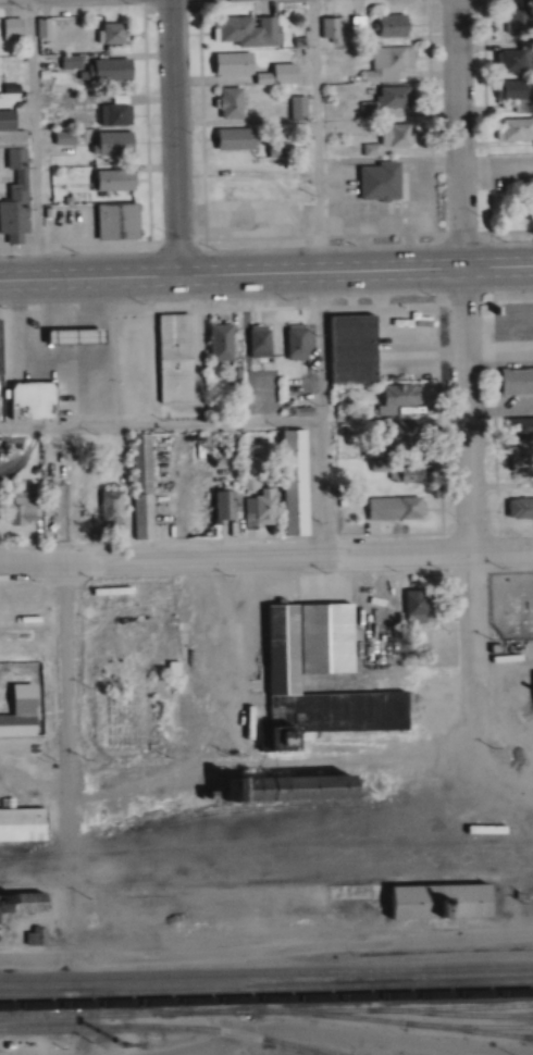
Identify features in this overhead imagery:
building: (511, 22)
building: (389, 26)
building: (11, 27)
building: (330, 27)
building: (243, 32)
building: (110, 34)
building: (66, 62)
building: (510, 62)
building: (228, 64)
building: (386, 64)
building: (104, 70)
building: (276, 75)
building: (513, 95)
building: (392, 101)
building: (226, 103)
building: (296, 109)
building: (112, 114)
building: (3, 122)
building: (512, 131)
road: (317, 132)
road: (173, 134)
road: (33, 135)
building: (228, 139)
building: (389, 139)
building: (107, 144)
building: (108, 181)
building: (374, 182)
building: (11, 221)
building: (112, 222)
road: (497, 258)
road: (231, 265)
road: (462, 275)
building: (255, 343)
building: (214, 344)
building: (292, 344)
building: (347, 351)
building: (169, 359)
building: (513, 382)
building: (394, 400)
building: (26, 402)
road: (320, 410)
road: (160, 426)
building: (517, 431)
building: (406, 435)
building: (103, 443)
building: (519, 467)
building: (402, 474)
building: (289, 484)
building: (138, 488)
building: (218, 508)
building: (389, 509)
building: (107, 510)
building: (518, 510)
building: (16, 511)
road: (266, 557)
building: (411, 608)
road: (471, 649)
building: (494, 649)
road: (224, 663)
building: (169, 670)
building: (282, 685)
building: (17, 715)
road: (37, 750)
road: (69, 760)
road: (369, 762)
road: (132, 781)
road: (34, 789)
building: (283, 790)
building: (5, 804)
railway: (177, 818)
building: (21, 826)
railway: (265, 847)
railway: (266, 881)
building: (18, 904)
building: (437, 904)
building: (34, 939)
road: (301, 945)
road: (35, 959)
railway: (266, 975)
railway: (472, 983)
railway: (206, 991)
railway: (329, 992)
railway: (266, 998)
railway: (26, 1003)
railway: (159, 1006)
railway: (265, 1011)
railway: (436, 1018)
railway: (393, 1022)
railway: (168, 1028)
road: (305, 1028)
railway: (476, 1031)
railway: (529, 1038)
railway: (286, 1047)

